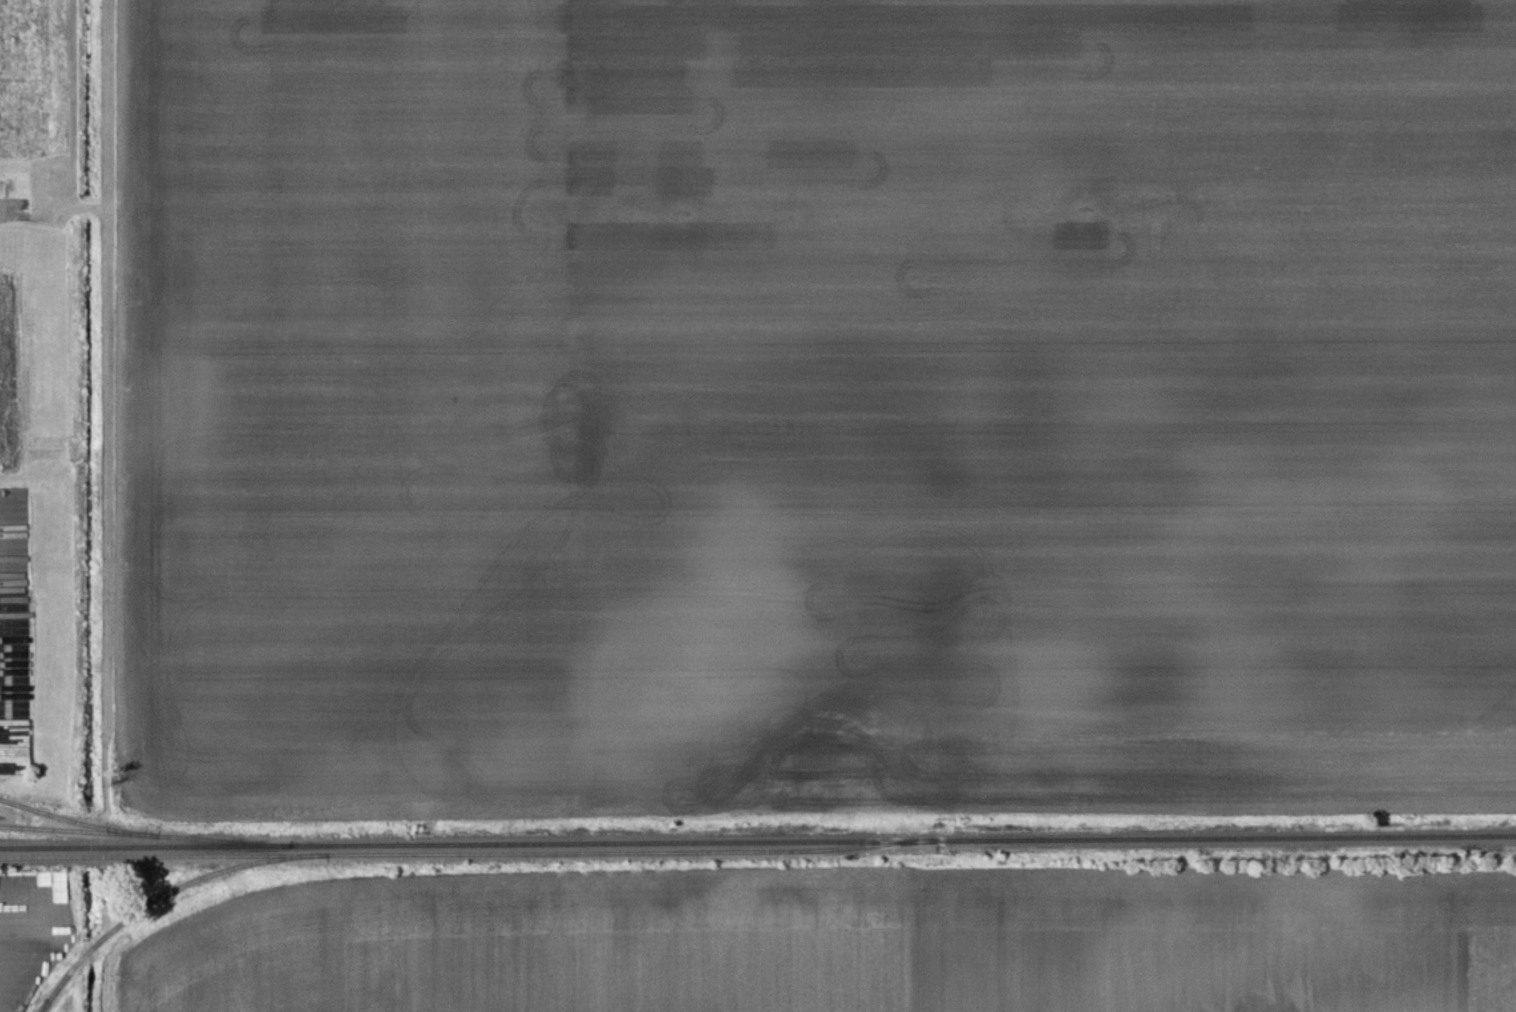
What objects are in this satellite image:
road: (3, 210)
railway: (144, 836)
railway: (758, 843)
railway: (469, 853)
railway: (164, 895)

